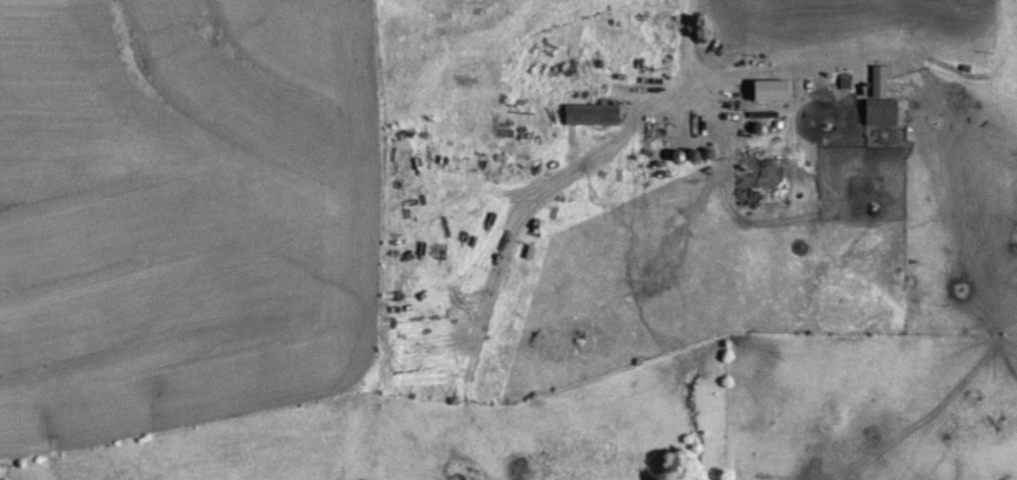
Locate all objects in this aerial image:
building: (735, 13)
building: (884, 98)
building: (596, 115)

